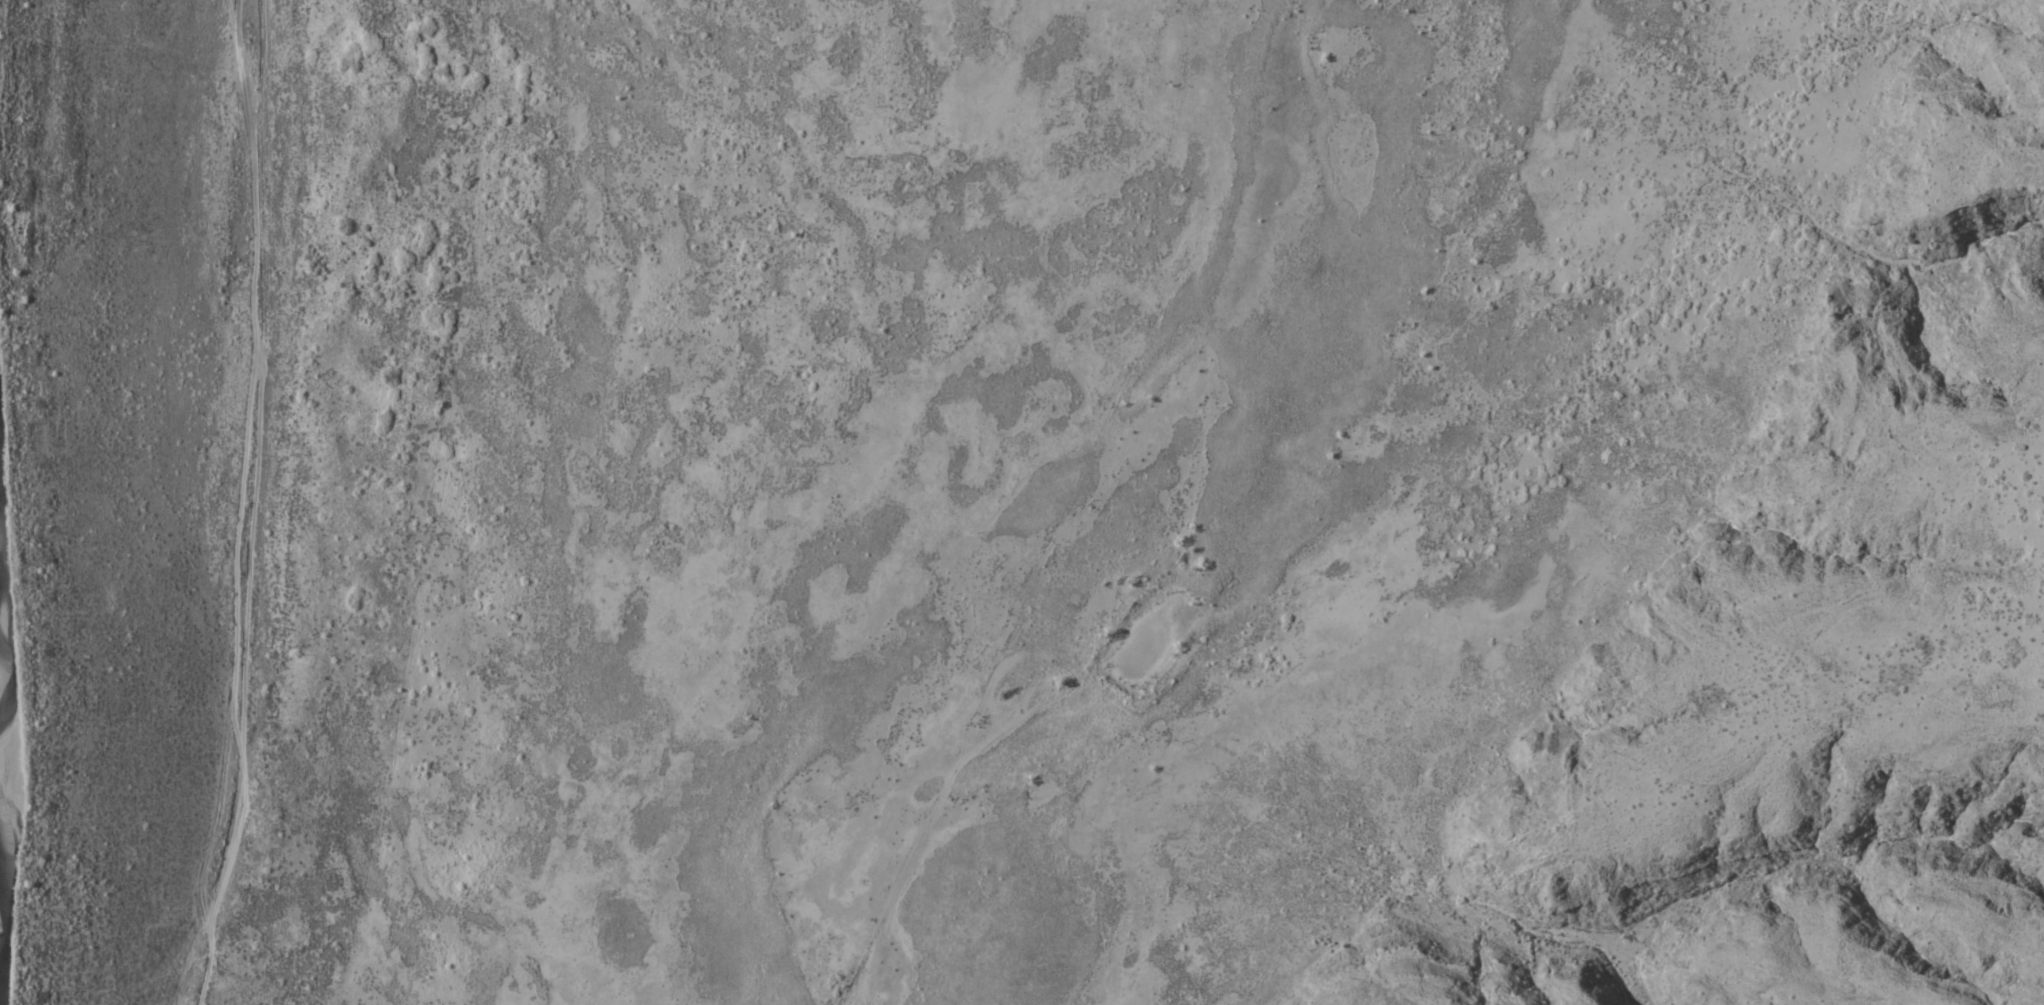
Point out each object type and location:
road: (241, 504)
road: (1054, 514)

